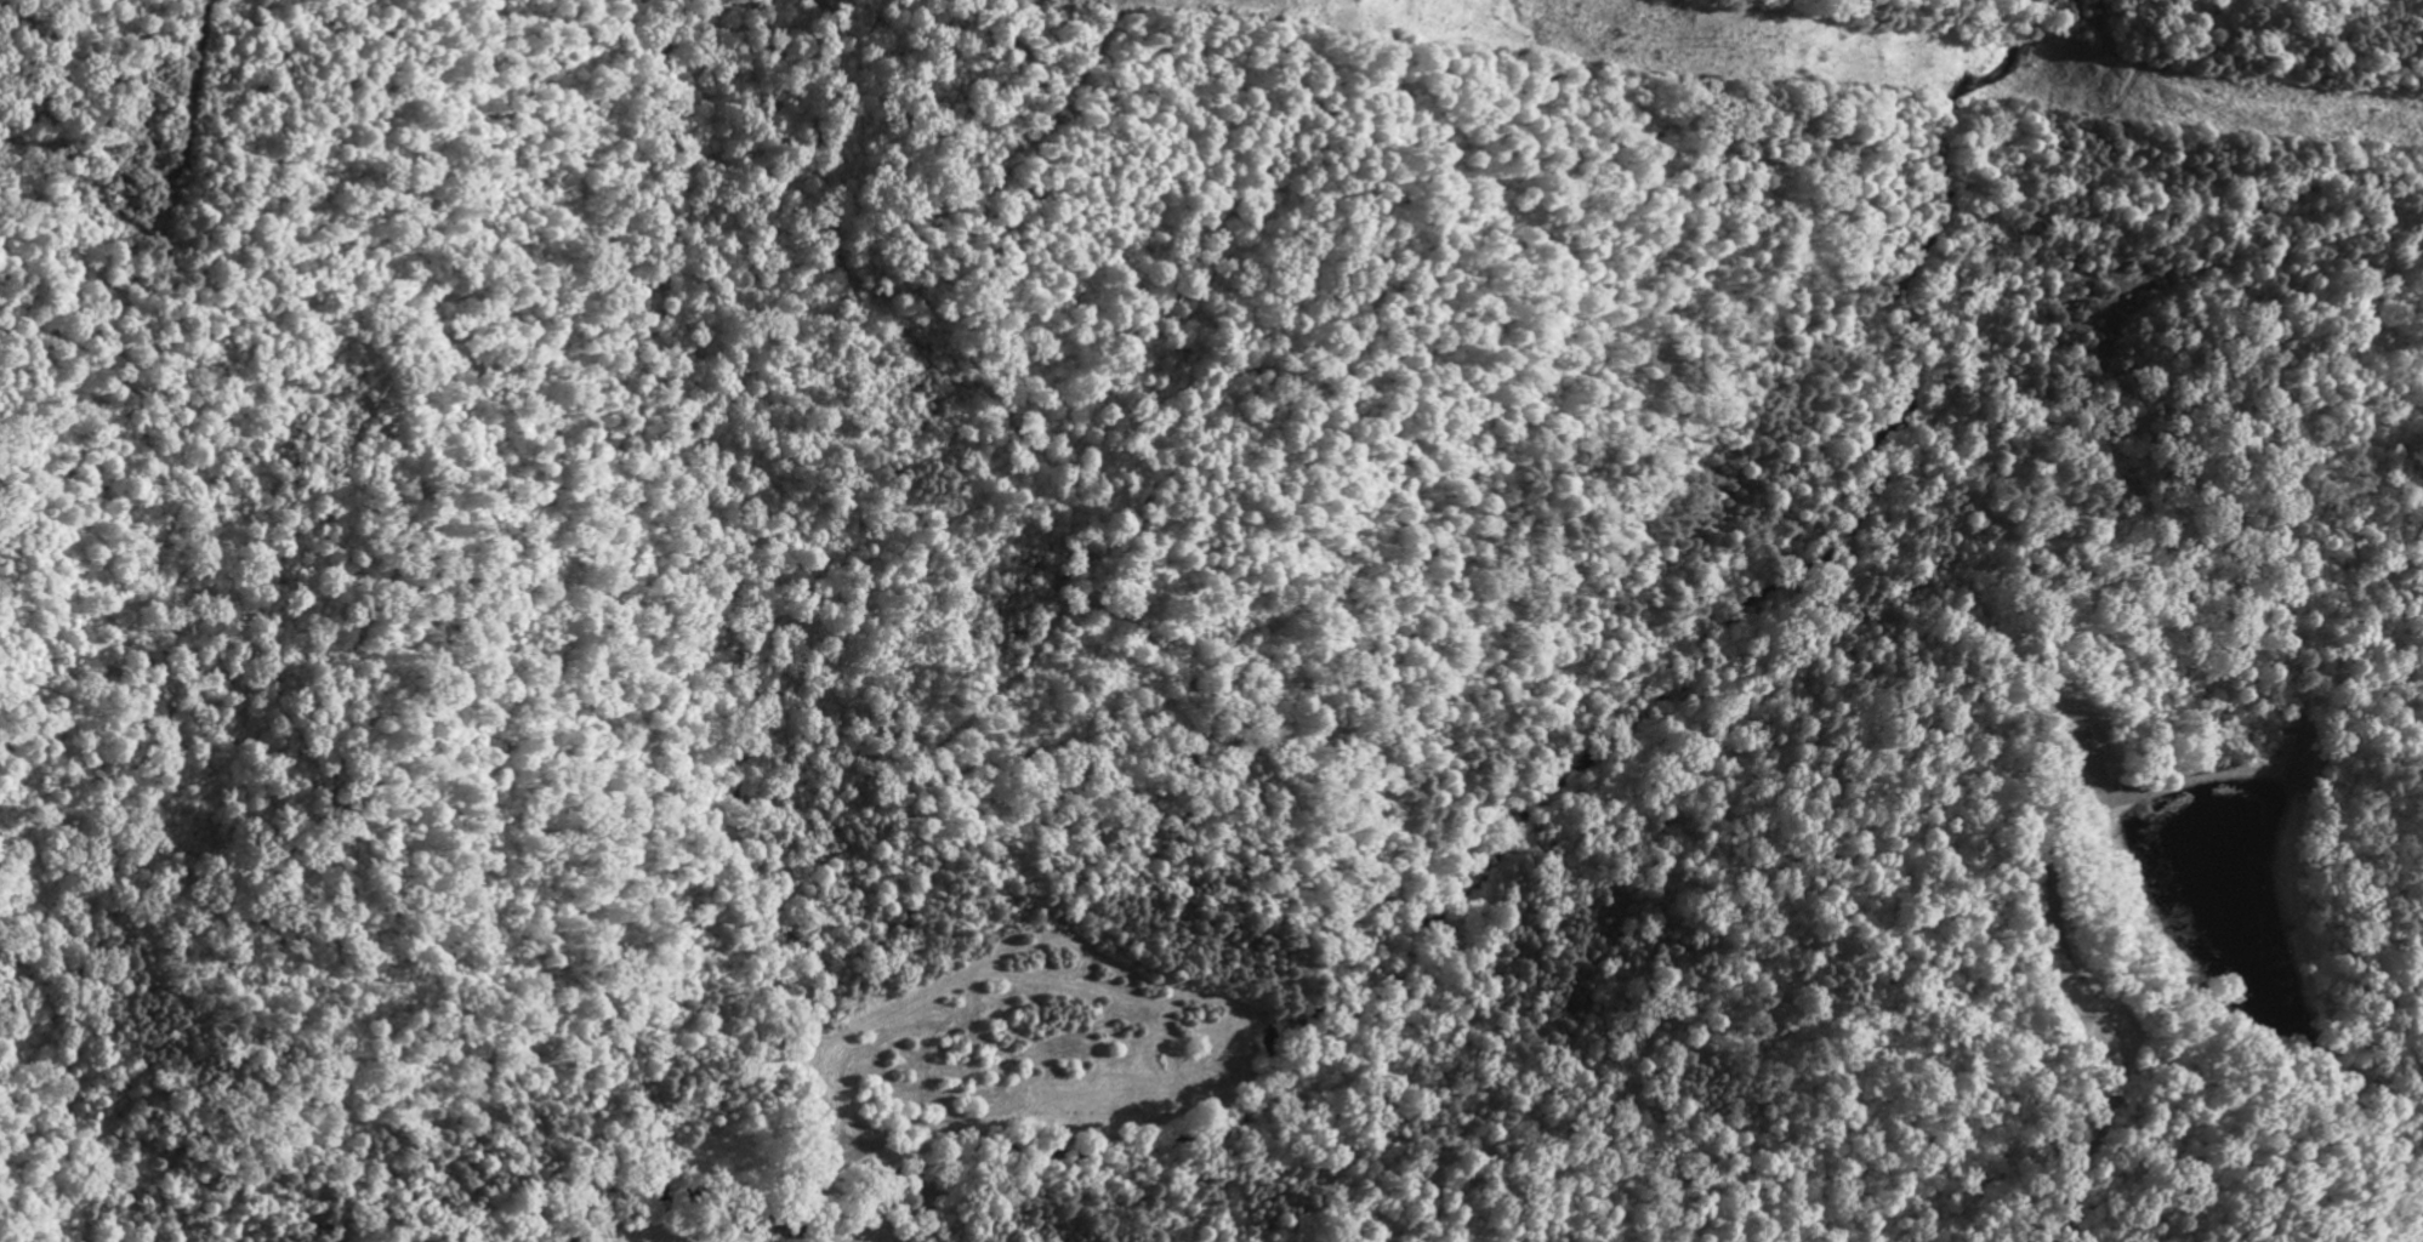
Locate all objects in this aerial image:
power tower: (1716, 41)

